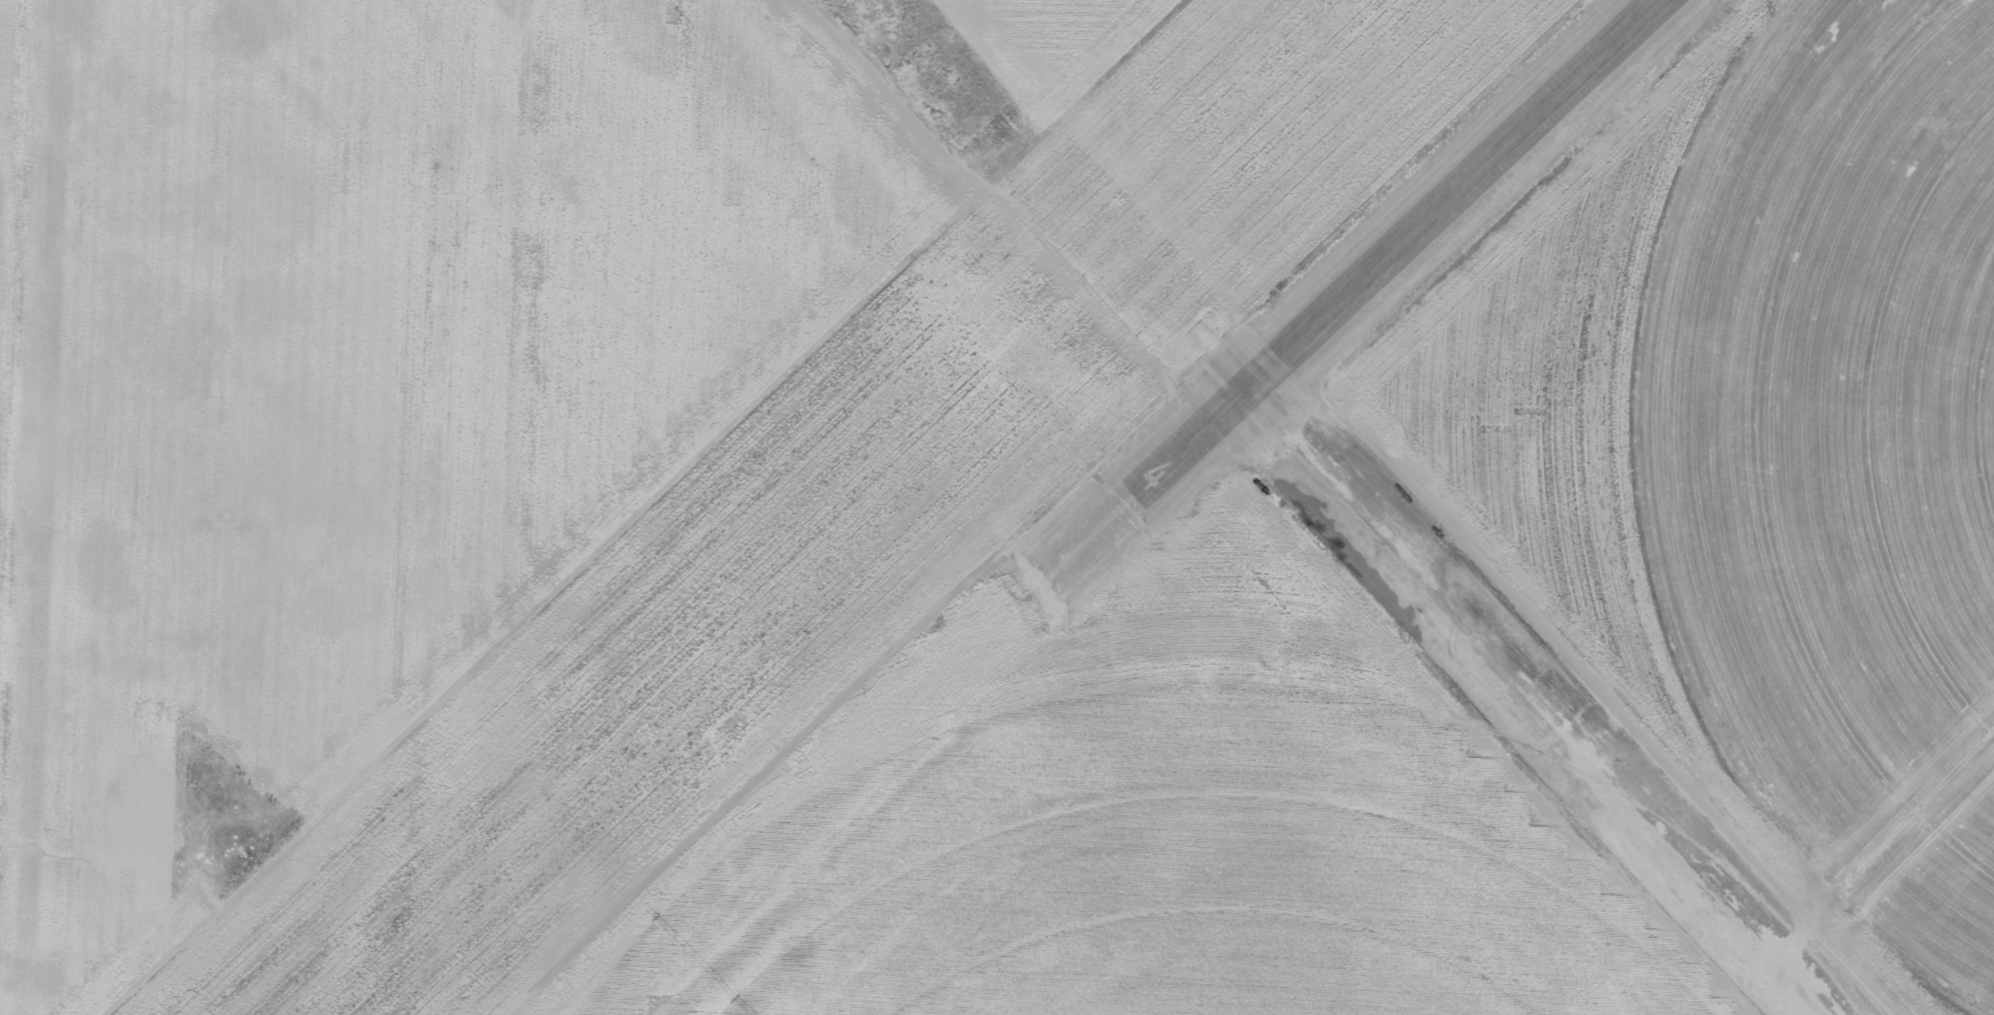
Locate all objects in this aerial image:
airport runway: (1402, 240)
crop: (1842, 453)
airport: (997, 507)
building: (1523, 659)
crop: (1191, 915)

